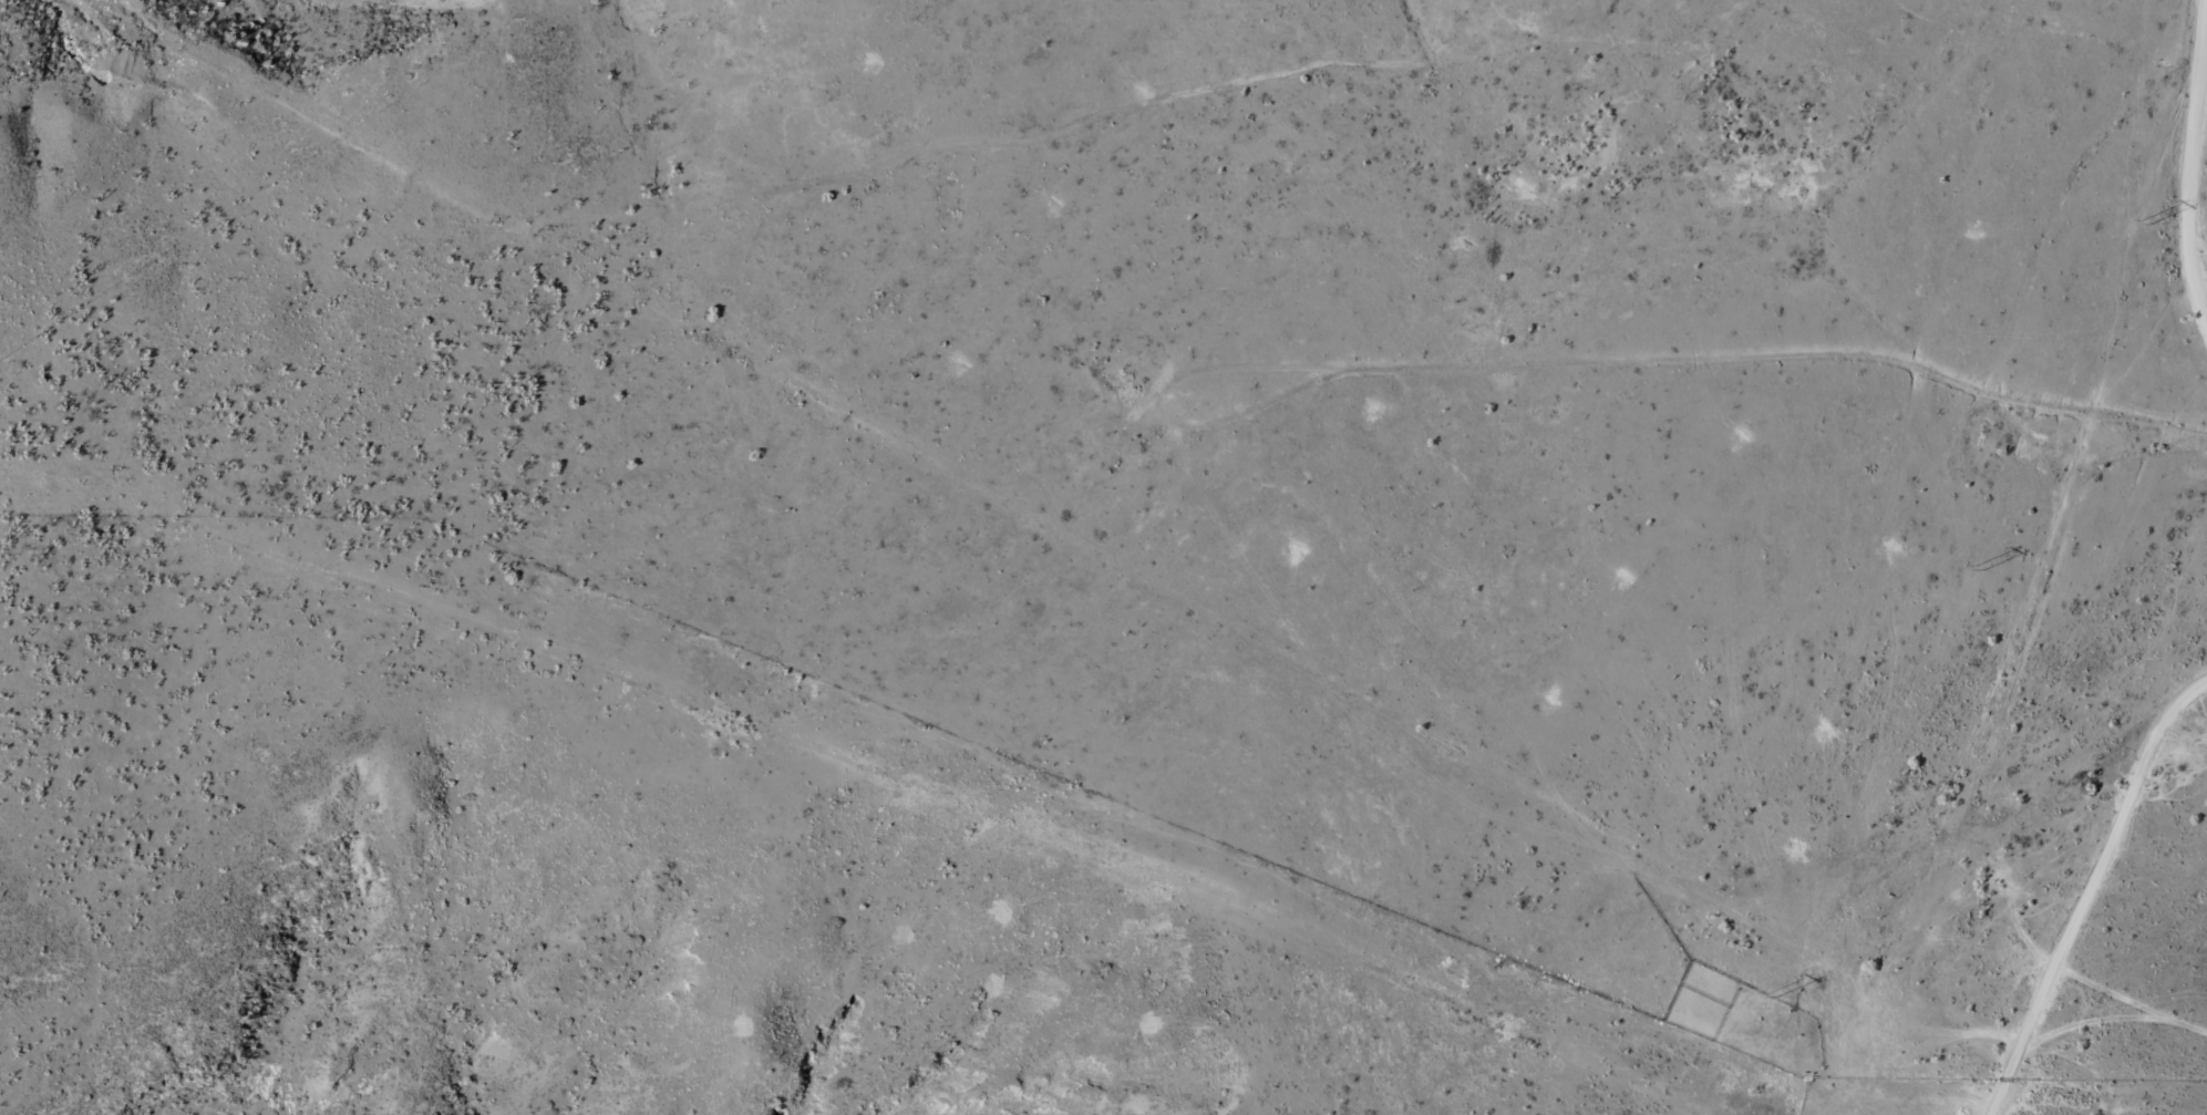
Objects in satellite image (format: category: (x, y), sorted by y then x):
power tower: (2145, 221)
power tower: (1978, 568)
power tower: (1772, 995)

